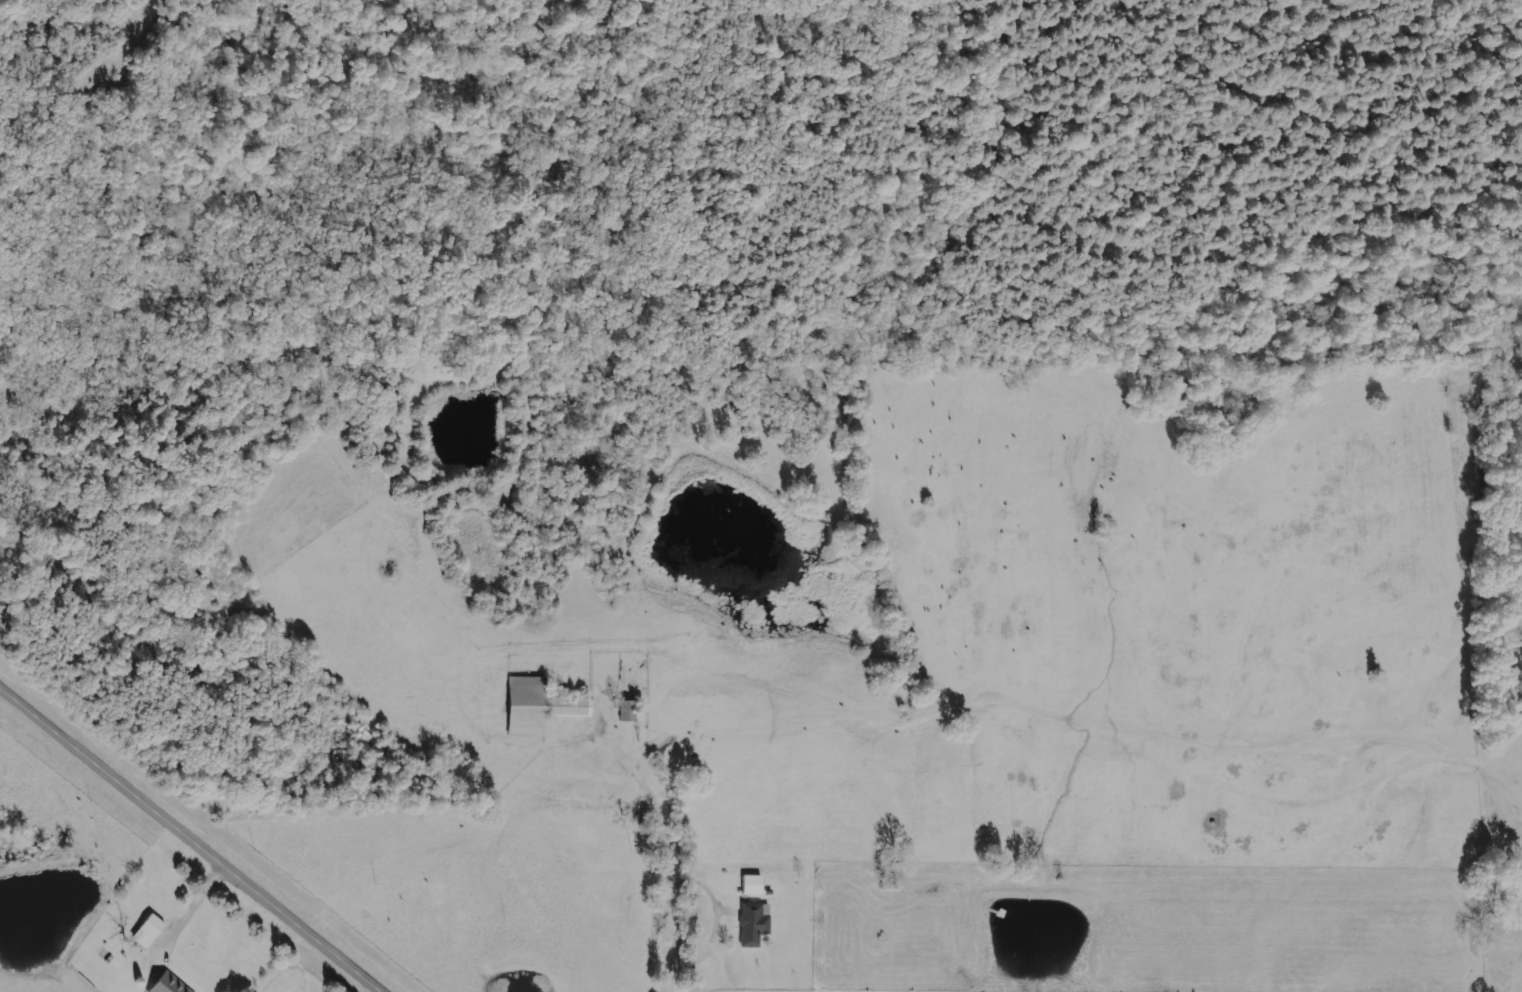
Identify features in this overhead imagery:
building: (5, 613)
building: (537, 707)
road: (188, 841)
building: (751, 885)
road: (681, 896)
road: (182, 910)
building: (754, 923)
building: (148, 931)
building: (169, 984)

